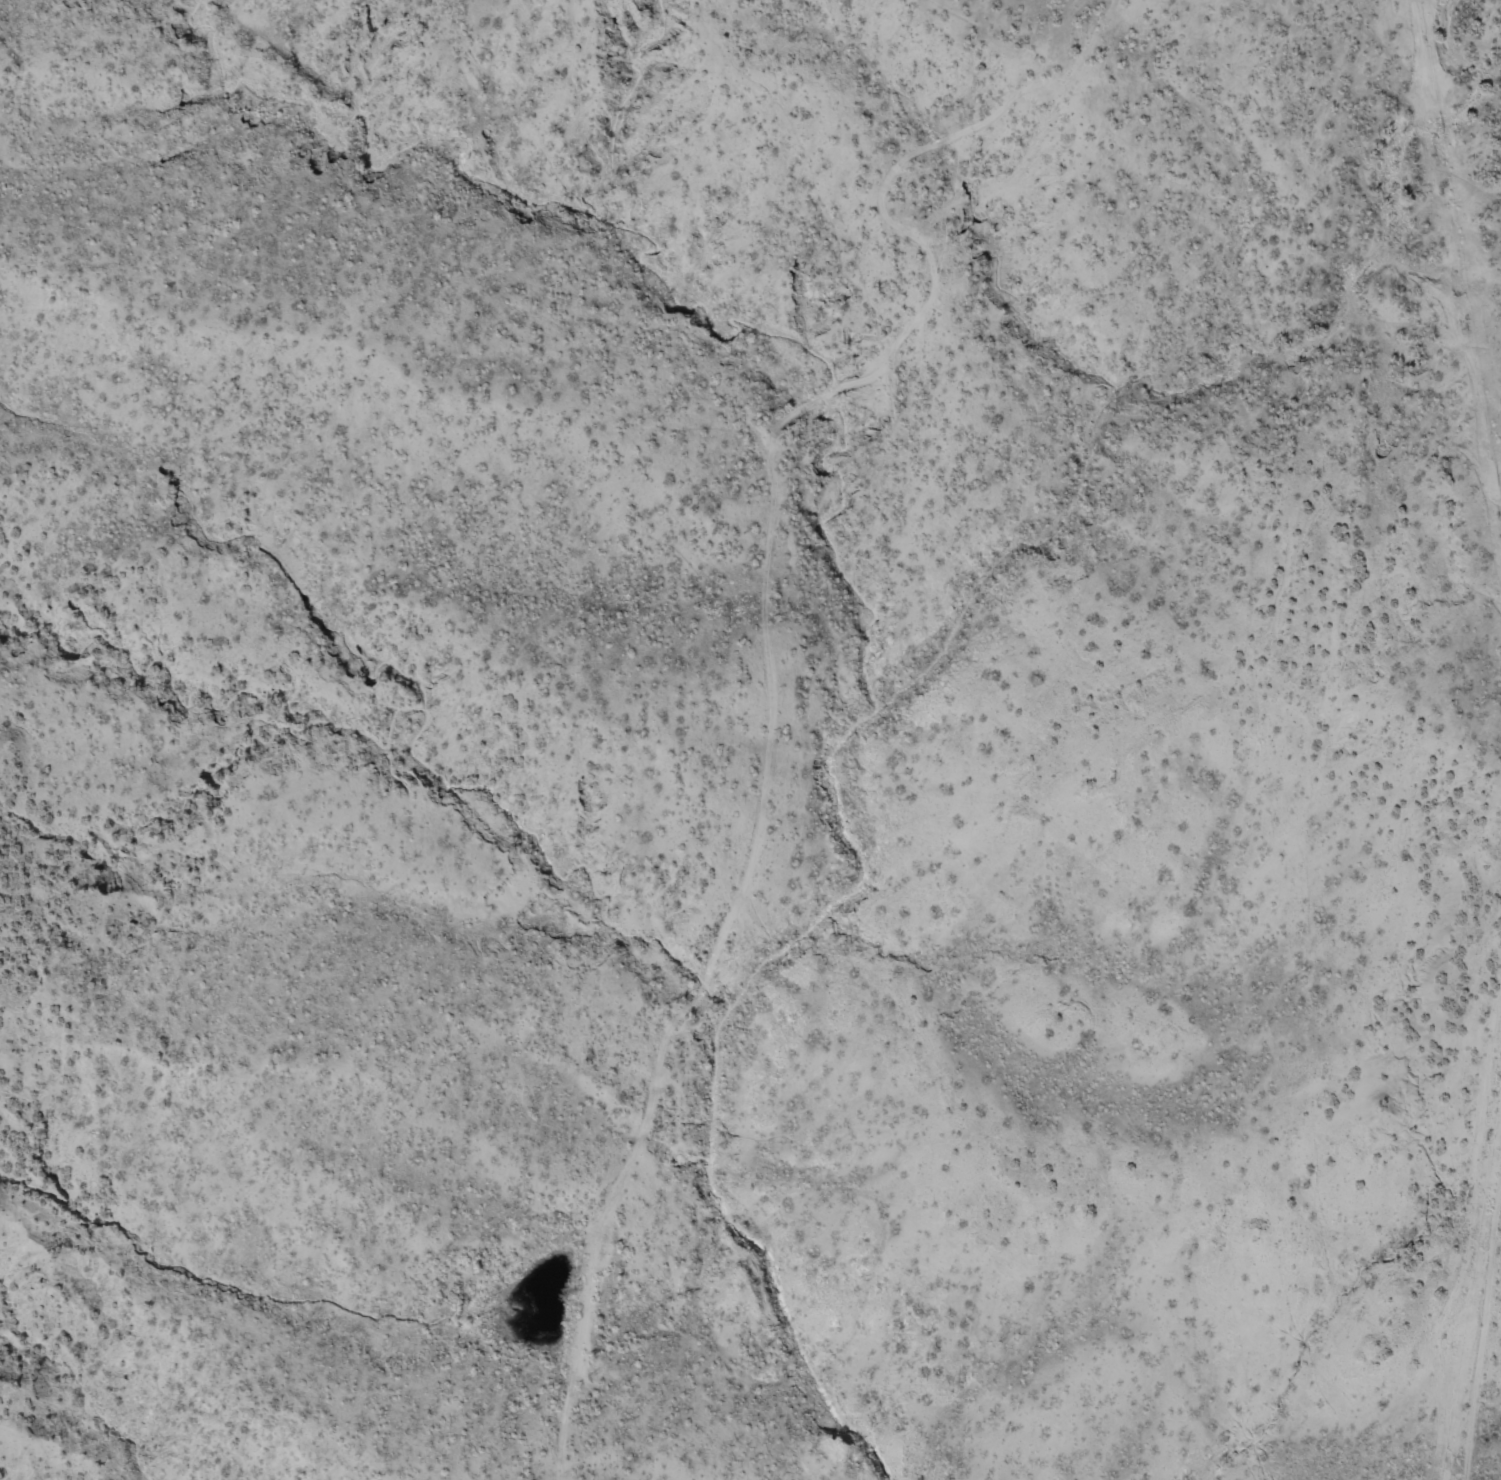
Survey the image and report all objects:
road: (1482, 1403)

